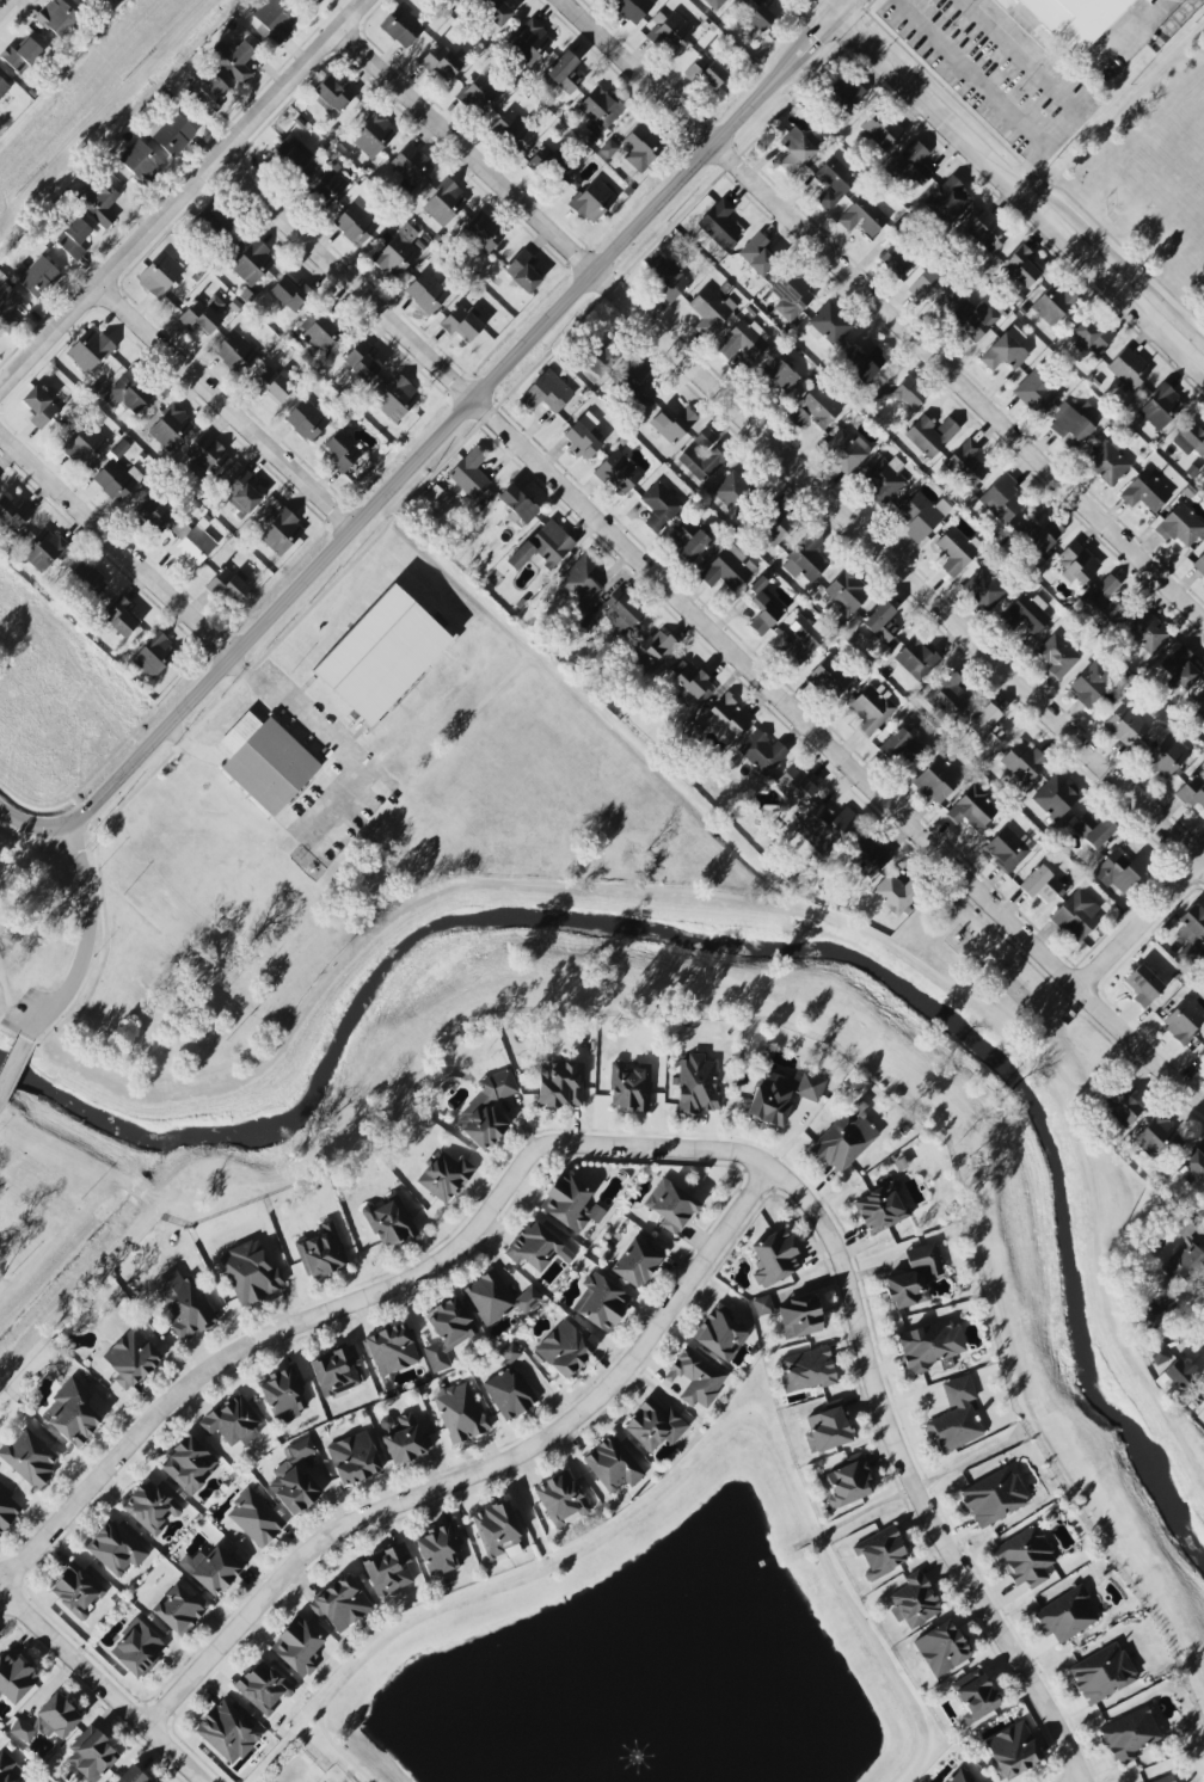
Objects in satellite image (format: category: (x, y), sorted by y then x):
building: (456, 0)
building: (86, 1)
building: (313, 2)
building: (714, 4)
road: (5, 5)
building: (632, 8)
building: (494, 11)
building: (756, 13)
building: (1075, 19)
building: (57, 20)
building: (275, 20)
building: (401, 26)
building: (671, 32)
building: (529, 43)
road: (1111, 50)
building: (19, 59)
building: (234, 60)
building: (441, 63)
building: (706, 72)
building: (565, 73)
road: (966, 75)
building: (2, 88)
road: (1053, 91)
building: (208, 92)
building: (481, 93)
building: (332, 94)
building: (600, 111)
building: (512, 129)
building: (880, 129)
building: (172, 134)
building: (373, 135)
building: (640, 147)
building: (608, 148)
building: (797, 149)
building: (141, 162)
building: (547, 162)
building: (911, 164)
building: (411, 165)
building: (834, 183)
road: (1012, 183)
building: (326, 185)
road: (183, 193)
building: (948, 199)
building: (592, 201)
building: (444, 203)
building: (102, 205)
building: (862, 217)
building: (215, 220)
building: (719, 223)
building: (356, 225)
building: (988, 232)
building: (483, 234)
building: (74, 239)
building: (398, 252)
building: (758, 253)
building: (251, 260)
building: (896, 260)
building: (1021, 266)
building: (523, 271)
building: (160, 276)
building: (38, 277)
building: (670, 279)
building: (932, 287)
building: (426, 291)
building: (290, 294)
building: (792, 295)
road: (886, 303)
building: (1053, 305)
building: (7, 308)
building: (201, 317)
building: (972, 320)
building: (461, 324)
building: (831, 324)
building: (324, 328)
building: (1089, 336)
building: (743, 340)
building: (90, 350)
building: (1006, 350)
building: (235, 352)
building: (361, 361)
building: (864, 363)
building: (1129, 369)
building: (621, 373)
building: (781, 375)
building: (272, 385)
building: (129, 393)
building: (909, 393)
building: (1037, 393)
building: (542, 395)
building: (39, 407)
road: (225, 407)
building: (1161, 407)
building: (813, 408)
road: (459, 418)
building: (306, 420)
building: (1074, 422)
building: (672, 424)
building: (171, 428)
building: (930, 435)
building: (1190, 440)
building: (580, 441)
road: (772, 444)
building: (86, 447)
building: (342, 451)
building: (846, 451)
building: (705, 455)
building: (205, 456)
building: (1107, 462)
building: (966, 465)
building: (619, 473)
building: (469, 474)
building: (117, 479)
building: (883, 480)
building: (732, 491)
building: (1145, 492)
building: (242, 493)
building: (999, 502)
building: (517, 504)
building: (659, 506)
building: (13, 514)
building: (153, 516)
building: (922, 516)
building: (775, 522)
building: (1180, 526)
building: (281, 533)
building: (1039, 535)
building: (689, 541)
building: (191, 545)
road: (118, 546)
building: (542, 547)
building: (43, 549)
building: (957, 551)
building: (806, 559)
building: (1077, 564)
building: (1199, 564)
building: (729, 569)
building: (85, 578)
building: (578, 582)
building: (227, 585)
building: (985, 589)
building: (847, 591)
building: (1105, 602)
building: (763, 607)
building: (621, 613)
building: (1026, 614)
building: (119, 616)
building: (879, 623)
building: (1148, 632)
road: (708, 634)
building: (797, 643)
building: (653, 650)
building: (154, 655)
building: (381, 656)
building: (1057, 656)
building: (916, 659)
building: (1179, 666)
building: (831, 676)
building: (690, 682)
building: (1091, 683)
building: (948, 695)
building: (1198, 705)
road: (262, 707)
building: (730, 713)
building: (988, 726)
building: (1125, 726)
road: (236, 737)
road: (333, 743)
building: (901, 746)
road: (190, 748)
building: (762, 752)
building: (1166, 757)
building: (1022, 761)
building: (265, 762)
building: (938, 780)
building: (797, 784)
building: (1192, 791)
building: (1056, 795)
building: (972, 810)
road: (30, 825)
building: (824, 828)
building: (1093, 829)
building: (1007, 848)
building: (867, 854)
building: (1122, 871)
building: (1040, 883)
road: (528, 884)
building: (893, 895)
building: (1076, 916)
road: (1139, 922)
building: (1191, 924)
road: (86, 942)
building: (1143, 985)
road: (4, 991)
building: (1184, 1020)
road: (12, 1067)
building: (561, 1084)
building: (698, 1086)
building: (629, 1087)
building: (782, 1095)
building: (1124, 1104)
building: (487, 1111)
building: (844, 1138)
building: (1157, 1141)
building: (1194, 1166)
building: (444, 1176)
building: (571, 1204)
building: (670, 1206)
building: (881, 1208)
park: (66, 1221)
building: (388, 1221)
building: (533, 1247)
building: (321, 1252)
building: (775, 1258)
building: (637, 1261)
road: (1095, 1261)
building: (1185, 1264)
building: (251, 1273)
building: (914, 1277)
building: (497, 1298)
building: (601, 1303)
building: (184, 1305)
building: (1155, 1310)
building: (792, 1315)
building: (447, 1332)
building: (720, 1334)
road: (259, 1341)
building: (930, 1345)
building: (564, 1348)
building: (391, 1350)
building: (1159, 1353)
building: (131, 1359)
building: (806, 1370)
building: (338, 1371)
road: (871, 1371)
building: (696, 1377)
building: (1177, 1378)
building: (509, 1387)
building: (283, 1391)
building: (72, 1412)
building: (460, 1413)
building: (956, 1417)
building: (232, 1421)
building: (655, 1425)
building: (828, 1428)
building: (406, 1440)
building: (302, 1449)
building: (29, 1457)
building: (354, 1458)
building: (189, 1464)
building: (613, 1464)
road: (480, 1474)
building: (849, 1481)
building: (294, 1489)
road: (672, 1492)
building: (994, 1497)
building: (561, 1499)
building: (150, 1507)
building: (7, 1511)
building: (256, 1518)
building: (440, 1548)
building: (116, 1549)
building: (880, 1553)
building: (1025, 1557)
building: (211, 1569)
building: (388, 1571)
building: (76, 1590)
building: (914, 1600)
building: (340, 1604)
building: (179, 1610)
building: (1065, 1615)
building: (297, 1647)
building: (941, 1648)
building: (137, 1649)
building: (1102, 1673)
building: (14, 1678)
road: (105, 1685)
building: (263, 1688)
building: (975, 1696)
building: (59, 1715)
building: (23, 1731)
building: (227, 1732)
building: (1129, 1735)
building: (1013, 1751)
building: (92, 1755)
building: (8, 1769)
park: (299, 1770)
building: (133, 1776)
building: (960, 1776)
building: (1166, 1778)
road: (1081, 1781)

